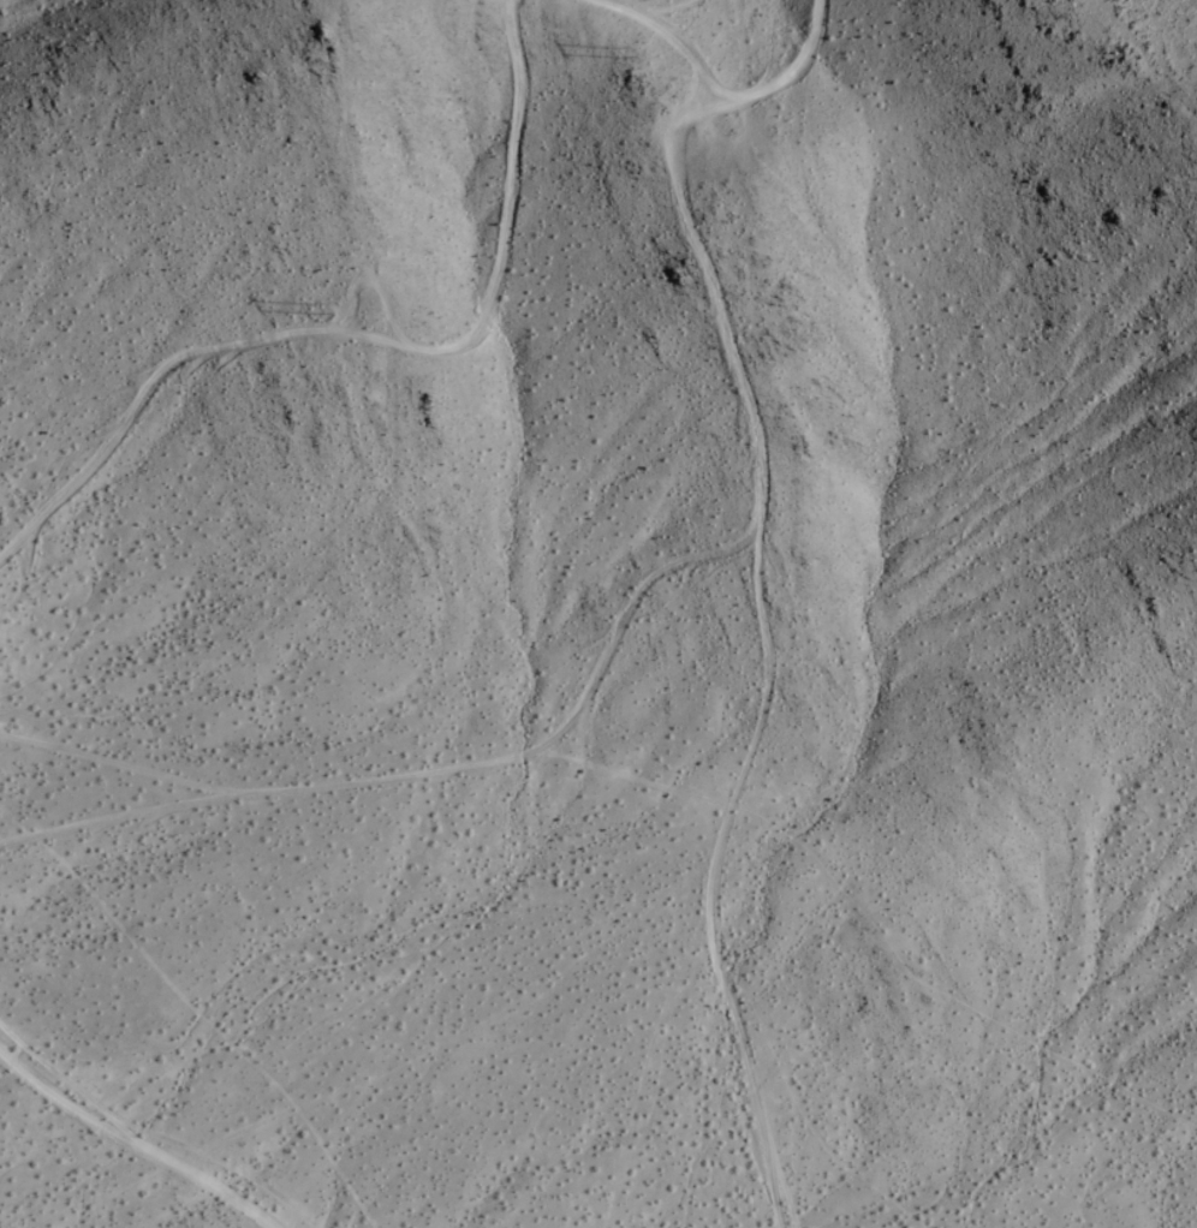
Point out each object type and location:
road: (678, 35)
road: (798, 78)
power tower: (645, 79)
power tower: (328, 310)
road: (776, 658)
road: (133, 1145)

